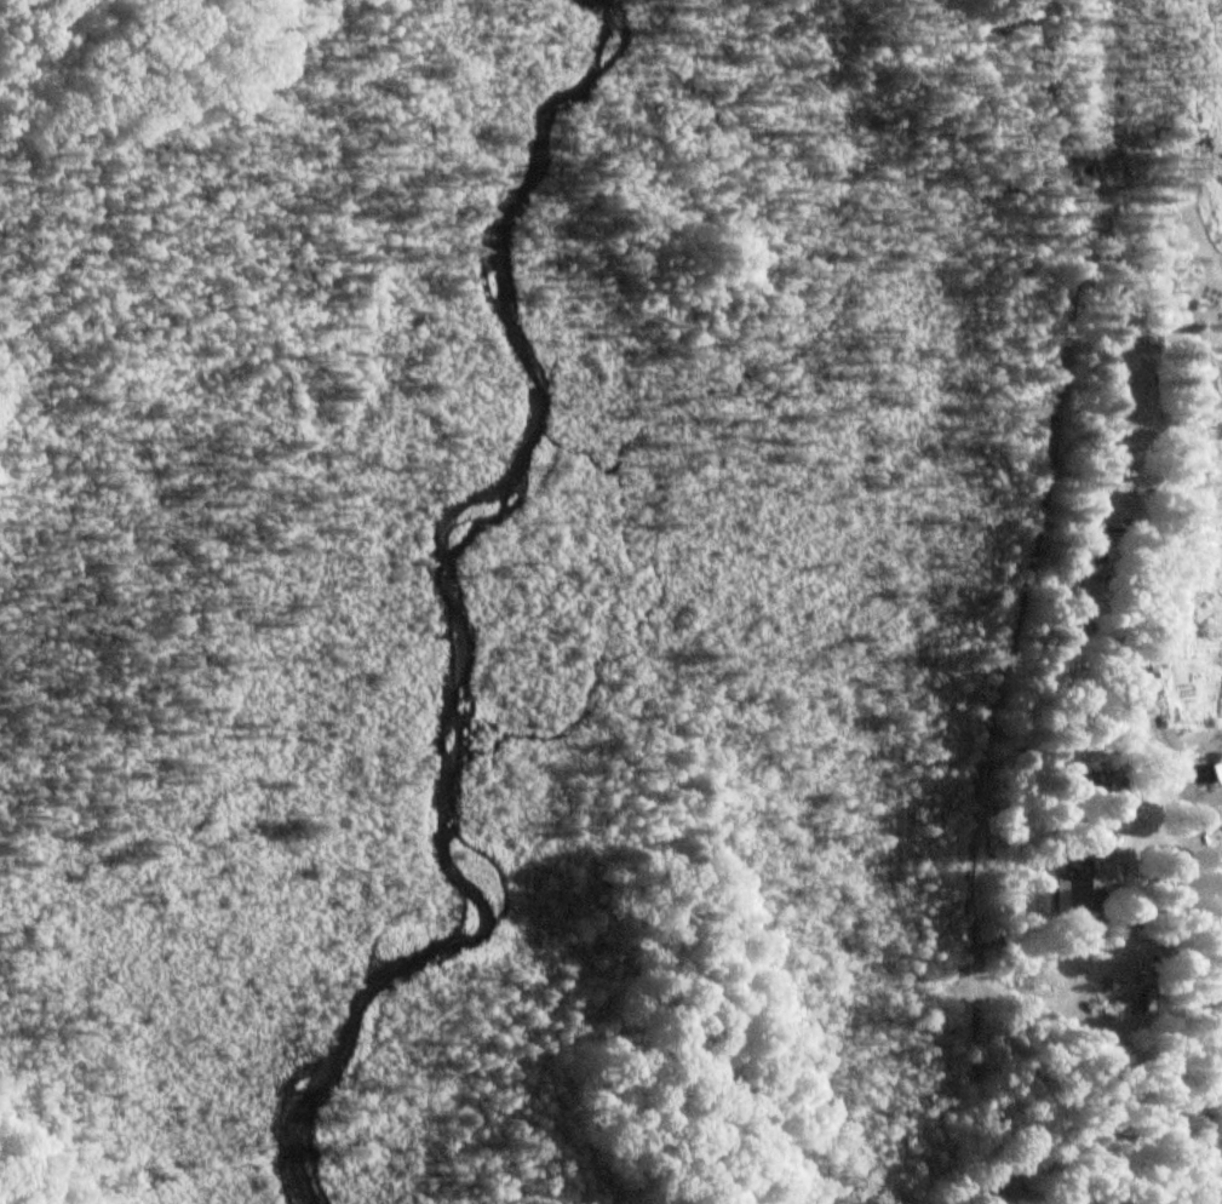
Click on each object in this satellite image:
road: (1102, 505)
road: (1011, 642)
road: (1174, 775)
building: (1106, 803)
building: (1080, 896)
road: (976, 1083)

